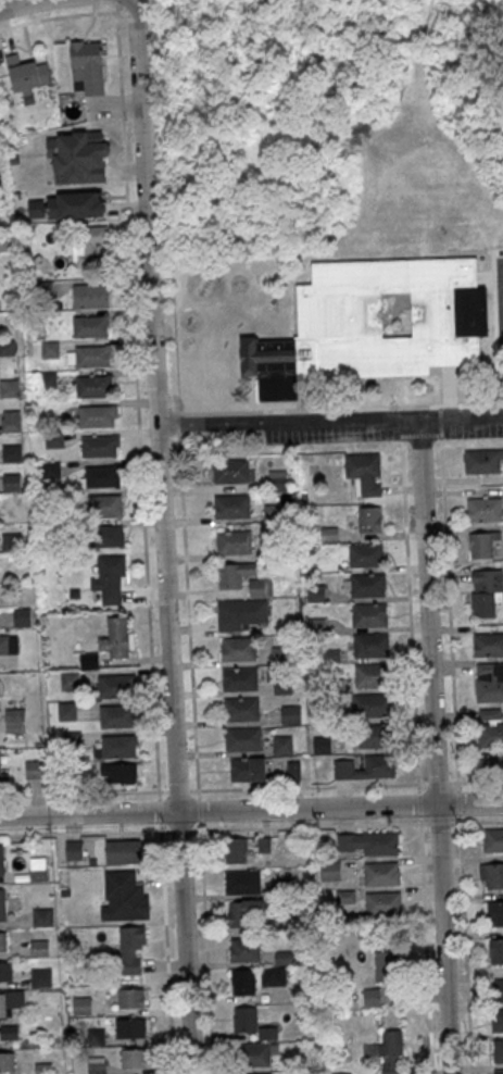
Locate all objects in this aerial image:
road: (26, 4)
building: (89, 64)
building: (27, 74)
park: (332, 117)
road: (425, 141)
building: (76, 157)
building: (66, 205)
building: (4, 241)
building: (88, 241)
road: (502, 282)
building: (90, 296)
building: (374, 324)
building: (89, 325)
road: (134, 341)
building: (50, 349)
building: (91, 355)
building: (47, 379)
building: (93, 386)
building: (96, 415)
building: (11, 420)
road: (330, 420)
building: (54, 439)
building: (99, 446)
building: (12, 452)
building: (482, 461)
building: (51, 469)
building: (230, 470)
building: (364, 472)
building: (102, 476)
building: (277, 479)
building: (105, 504)
building: (231, 504)
building: (485, 509)
building: (272, 512)
building: (369, 519)
road: (164, 535)
building: (105, 536)
building: (12, 540)
building: (234, 541)
building: (482, 542)
building: (365, 554)
building: (234, 574)
building: (110, 578)
building: (364, 585)
building: (261, 587)
building: (486, 591)
road: (187, 592)
building: (316, 592)
road: (410, 601)
building: (240, 612)
building: (369, 615)
building: (22, 616)
road: (449, 620)
building: (117, 637)
building: (7, 642)
building: (488, 644)
building: (370, 645)
building: (239, 649)
building: (279, 654)
building: (88, 660)
building: (372, 674)
building: (240, 678)
building: (70, 680)
building: (115, 685)
building: (489, 689)
building: (0, 697)
building: (368, 705)
building: (241, 709)
building: (66, 711)
building: (290, 714)
building: (117, 715)
building: (15, 721)
building: (490, 727)
building: (372, 736)
building: (242, 738)
building: (282, 745)
building: (322, 745)
building: (118, 746)
road: (433, 746)
building: (491, 761)
building: (365, 767)
building: (36, 769)
building: (247, 769)
building: (293, 770)
building: (120, 772)
building: (4, 777)
road: (460, 780)
road: (197, 790)
road: (79, 792)
road: (419, 803)
road: (251, 808)
road: (461, 821)
road: (80, 832)
building: (492, 839)
building: (379, 842)
building: (74, 850)
building: (235, 850)
building: (123, 851)
building: (1, 859)
building: (330, 871)
building: (381, 872)
building: (491, 876)
building: (242, 881)
building: (127, 895)
building: (382, 902)
building: (3, 904)
building: (247, 911)
building: (494, 913)
building: (42, 916)
building: (3, 941)
building: (39, 947)
road: (426, 948)
road: (465, 948)
building: (133, 950)
building: (244, 950)
road: (206, 951)
building: (495, 951)
road: (166, 952)
building: (386, 965)
building: (276, 969)
building: (5, 972)
building: (41, 976)
building: (242, 982)
building: (496, 988)
building: (130, 997)
building: (11, 1002)
building: (81, 1004)
building: (244, 1019)
building: (496, 1020)
building: (130, 1027)
building: (9, 1032)
building: (498, 1050)
building: (388, 1051)
building: (253, 1054)
building: (135, 1058)
building: (7, 1061)
building: (97, 1066)
building: (499, 1071)

